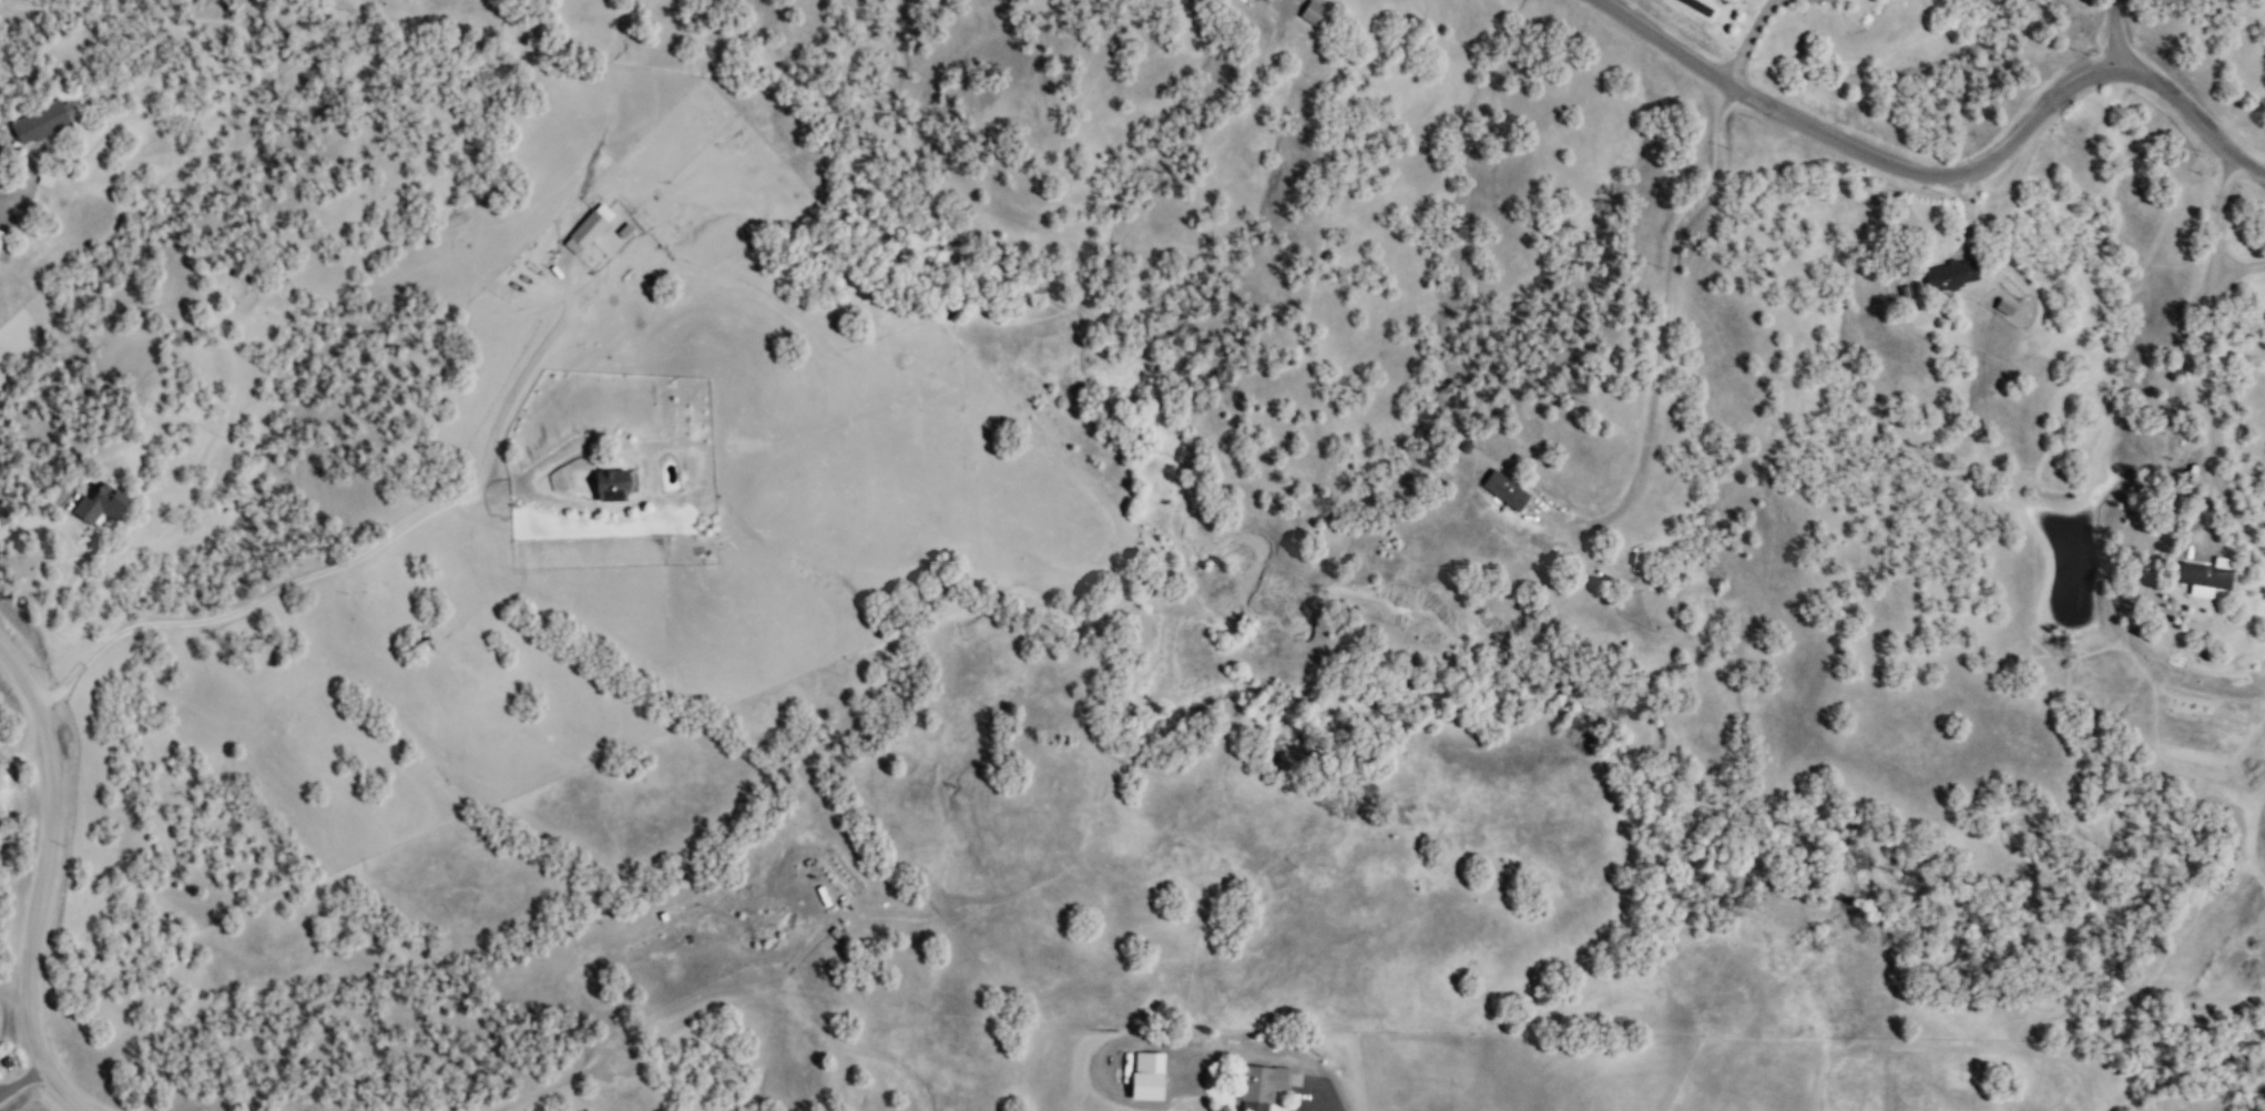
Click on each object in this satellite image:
building: (1267, 0)
road: (1285, 3)
building: (1312, 11)
road: (1749, 37)
building: (39, 121)
road: (1948, 177)
building: (45, 179)
building: (588, 228)
building: (1, 235)
building: (1951, 274)
building: (2004, 306)
road: (2206, 343)
building: (613, 483)
building: (1506, 489)
building: (98, 504)
building: (2206, 575)
road: (252, 604)
road: (45, 876)
building: (1146, 1076)
building: (1262, 1085)
road: (1327, 1102)

